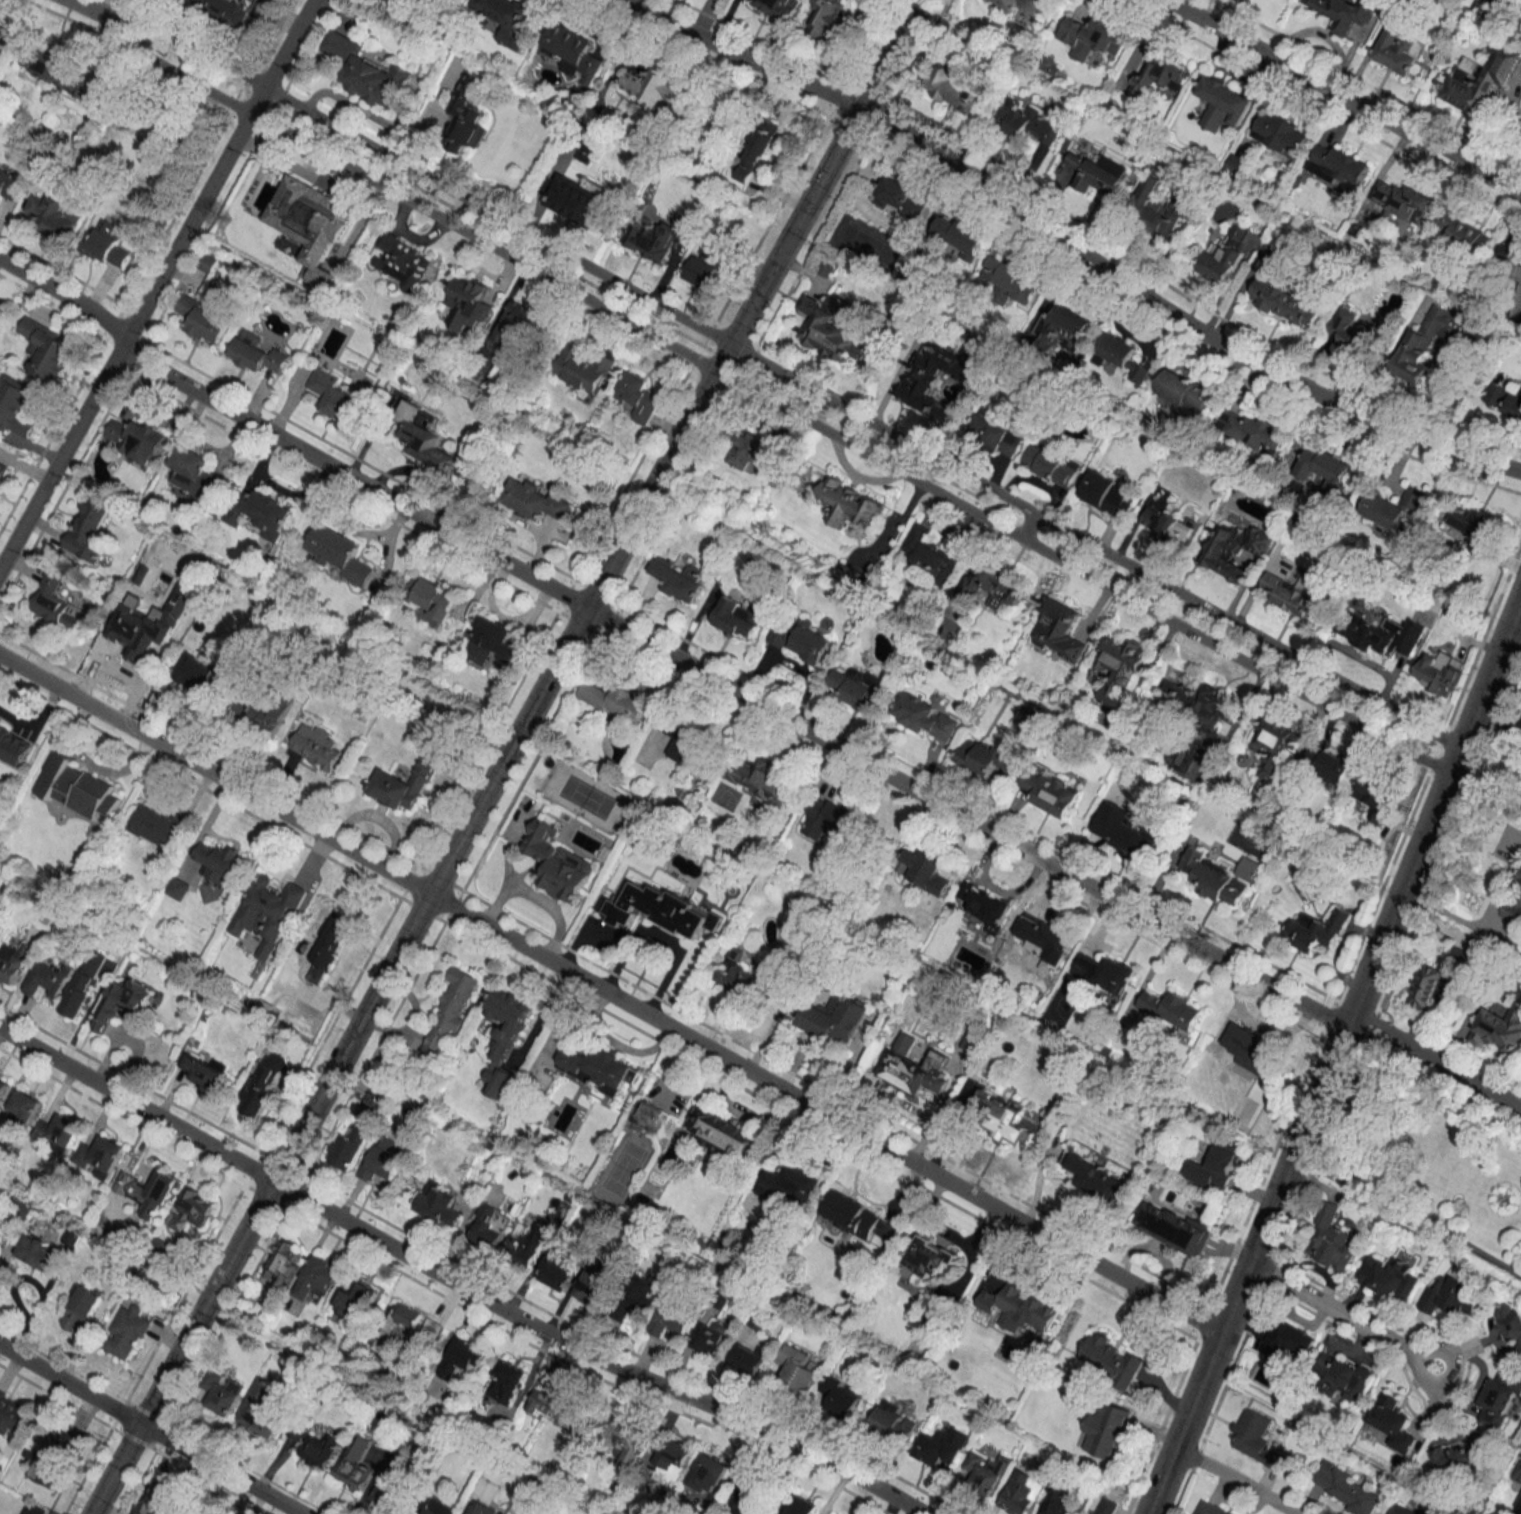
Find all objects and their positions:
building: (1016, 5)
building: (777, 7)
road: (82, 8)
building: (227, 10)
building: (1346, 12)
building: (825, 17)
building: (507, 20)
building: (3, 34)
building: (1093, 37)
building: (1400, 49)
building: (572, 52)
building: (59, 72)
building: (368, 72)
building: (1159, 74)
building: (1482, 80)
building: (653, 88)
building: (956, 89)
road: (1343, 97)
building: (1223, 103)
building: (466, 117)
building: (1019, 119)
building: (1282, 134)
building: (587, 152)
building: (754, 155)
building: (1236, 165)
building: (1339, 167)
building: (1100, 174)
building: (7, 186)
building: (898, 198)
building: (1397, 198)
building: (576, 200)
building: (1161, 205)
building: (53, 215)
building: (312, 225)
building: (1464, 233)
building: (961, 236)
building: (661, 237)
road: (1069, 244)
building: (105, 248)
building: (1226, 256)
building: (402, 259)
building: (1507, 264)
building: (702, 269)
building: (1007, 280)
road: (155, 282)
road: (65, 293)
building: (0, 302)
building: (469, 303)
building: (1287, 303)
building: (202, 320)
building: (514, 324)
building: (1066, 329)
building: (1351, 331)
building: (828, 332)
building: (1428, 342)
building: (48, 350)
building: (256, 353)
building: (1122, 356)
building: (585, 369)
road: (785, 376)
building: (924, 379)
building: (1185, 391)
building: (333, 395)
building: (638, 397)
building: (1504, 399)
road: (771, 403)
building: (17, 406)
building: (1253, 432)
building: (995, 434)
building: (137, 439)
building: (424, 439)
building: (749, 451)
building: (1050, 465)
building: (1323, 468)
building: (3, 470)
building: (195, 470)
building: (1106, 494)
building: (536, 500)
building: (849, 502)
building: (1392, 507)
building: (260, 510)
building: (1471, 520)
building: (1169, 527)
building: (88, 530)
building: (1234, 549)
building: (340, 553)
building: (929, 554)
building: (850, 576)
building: (678, 579)
building: (986, 582)
building: (1289, 593)
building: (431, 597)
building: (56, 603)
building: (739, 617)
building: (1059, 634)
building: (138, 636)
building: (1389, 636)
building: (492, 642)
building: (800, 642)
building: (1120, 669)
building: (1439, 672)
building: (200, 675)
road: (733, 687)
building: (859, 687)
building: (617, 701)
building: (1199, 706)
road: (1476, 708)
building: (262, 718)
building: (926, 718)
building: (14, 745)
building: (691, 745)
building: (1275, 745)
building: (317, 748)
road: (1493, 754)
road: (504, 757)
building: (987, 757)
building: (1186, 758)
building: (1328, 765)
building: (762, 779)
building: (406, 783)
building: (75, 787)
building: (1051, 792)
building: (1375, 798)
building: (830, 820)
building: (158, 827)
building: (1124, 832)
building: (219, 861)
building: (558, 863)
building: (924, 870)
building: (1216, 879)
building: (1520, 880)
building: (178, 888)
building: (983, 902)
building: (659, 910)
building: (1513, 910)
building: (268, 912)
road: (1388, 922)
road: (1480, 923)
building: (1317, 931)
building: (1043, 934)
building: (331, 940)
building: (13, 961)
building: (1106, 973)
building: (740, 977)
building: (49, 978)
building: (86, 984)
building: (1427, 986)
road: (610, 995)
building: (126, 1002)
building: (1172, 1009)
building: (450, 1014)
building: (835, 1019)
building: (1498, 1028)
building: (505, 1035)
building: (1250, 1041)
building: (970, 1045)
road: (1436, 1056)
building: (597, 1065)
building: (913, 1067)
building: (204, 1071)
building: (262, 1084)
building: (3, 1087)
building: (378, 1096)
building: (24, 1106)
building: (1004, 1114)
building: (651, 1118)
building: (59, 1131)
building: (729, 1134)
building: (350, 1145)
building: (100, 1156)
building: (383, 1160)
building: (1214, 1167)
building: (1097, 1178)
building: (790, 1184)
building: (159, 1195)
building: (193, 1208)
building: (439, 1209)
building: (852, 1213)
road: (1406, 1217)
building: (111, 1219)
building: (1172, 1226)
building: (491, 1228)
building: (1331, 1240)
building: (528, 1242)
building: (45, 1253)
building: (0, 1260)
building: (926, 1261)
building: (285, 1264)
building: (556, 1270)
road: (1247, 1270)
building: (1389, 1278)
building: (317, 1279)
road: (455, 1283)
building: (595, 1284)
building: (640, 1294)
building: (1452, 1297)
building: (354, 1300)
building: (83, 1310)
building: (1026, 1310)
building: (673, 1319)
building: (758, 1320)
road: (1353, 1322)
building: (1510, 1323)
building: (410, 1328)
building: (126, 1332)
building: (713, 1335)
building: (1284, 1339)
building: (463, 1358)
building: (749, 1358)
building: (1110, 1360)
building: (798, 1367)
building: (1346, 1380)
building: (506, 1381)
building: (222, 1392)
building: (841, 1396)
building: (1498, 1400)
building: (557, 1406)
building: (262, 1409)
building: (13, 1414)
building: (893, 1421)
building: (1393, 1426)
road: (148, 1429)
building: (1110, 1436)
building: (1257, 1439)
building: (628, 1441)
building: (941, 1446)
building: (320, 1450)
building: (1459, 1457)
building: (55, 1458)
building: (670, 1461)
building: (355, 1463)
building: (985, 1472)
building: (707, 1474)
road: (1238, 1478)
building: (392, 1485)
building: (1347, 1489)
building: (1021, 1493)
building: (155, 1501)
building: (751, 1501)
building: (1058, 1501)
building: (802, 1505)
building: (1103, 1505)
building: (436, 1506)
building: (479, 1508)
building: (1210, 1508)
building: (1398, 1509)
building: (204, 1511)

